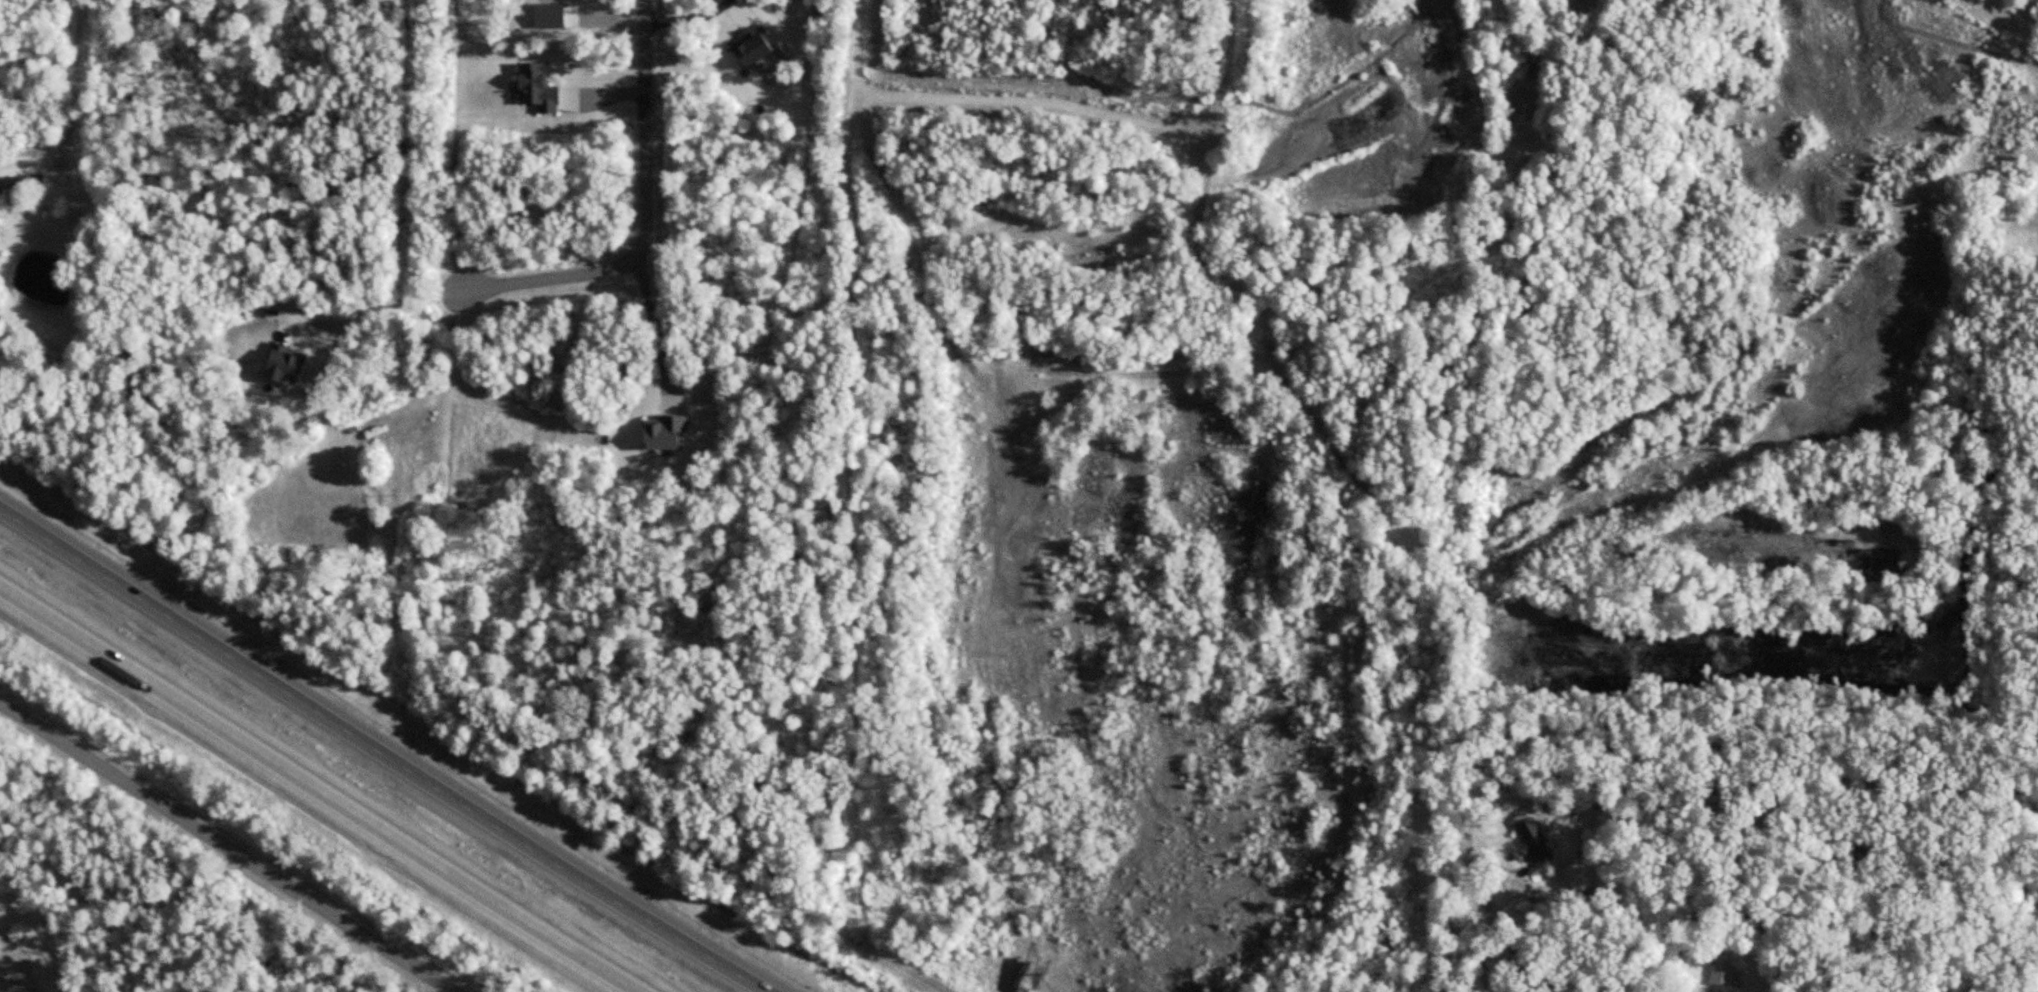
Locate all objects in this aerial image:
road: (74, 95)
building: (23, 183)
road: (647, 217)
road: (385, 305)
road: (654, 325)
road: (861, 470)
road: (384, 751)
road: (320, 791)
road: (673, 825)
building: (1535, 839)
road: (231, 846)
building: (1578, 878)
road: (1484, 925)
building: (1724, 975)

